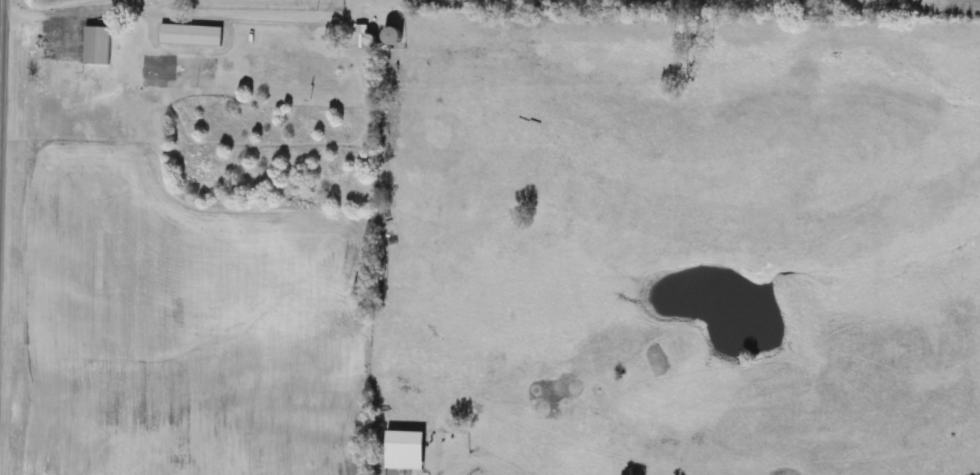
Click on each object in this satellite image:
road: (108, 4)
road: (156, 13)
building: (191, 35)
building: (395, 37)
building: (98, 45)
road: (1, 75)
road: (2, 93)
building: (407, 450)

